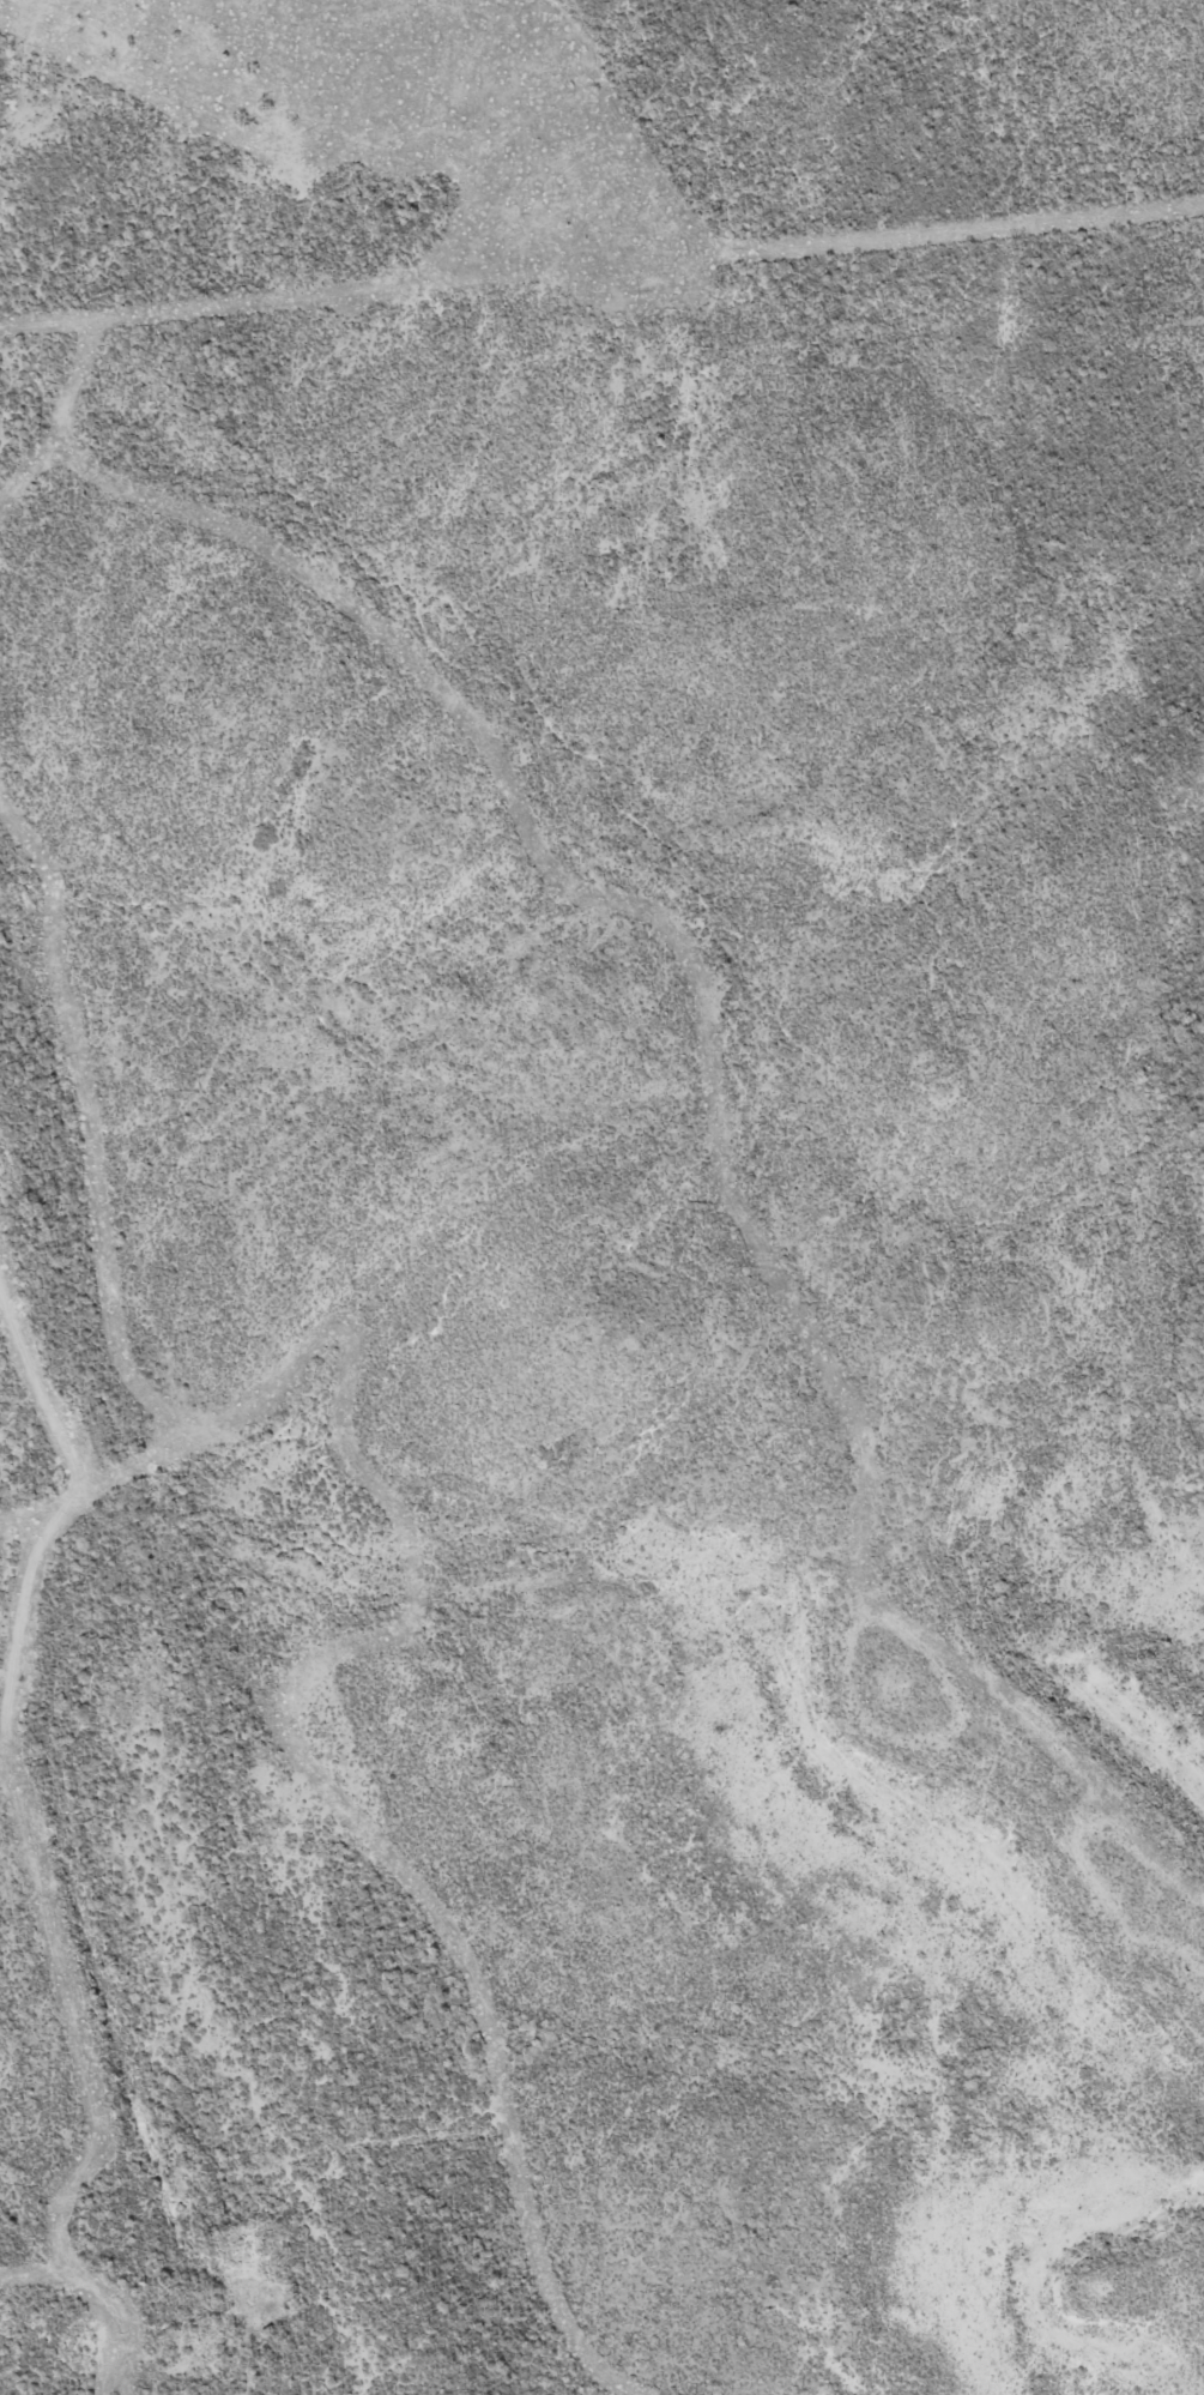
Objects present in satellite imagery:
road: (93, 2286)

